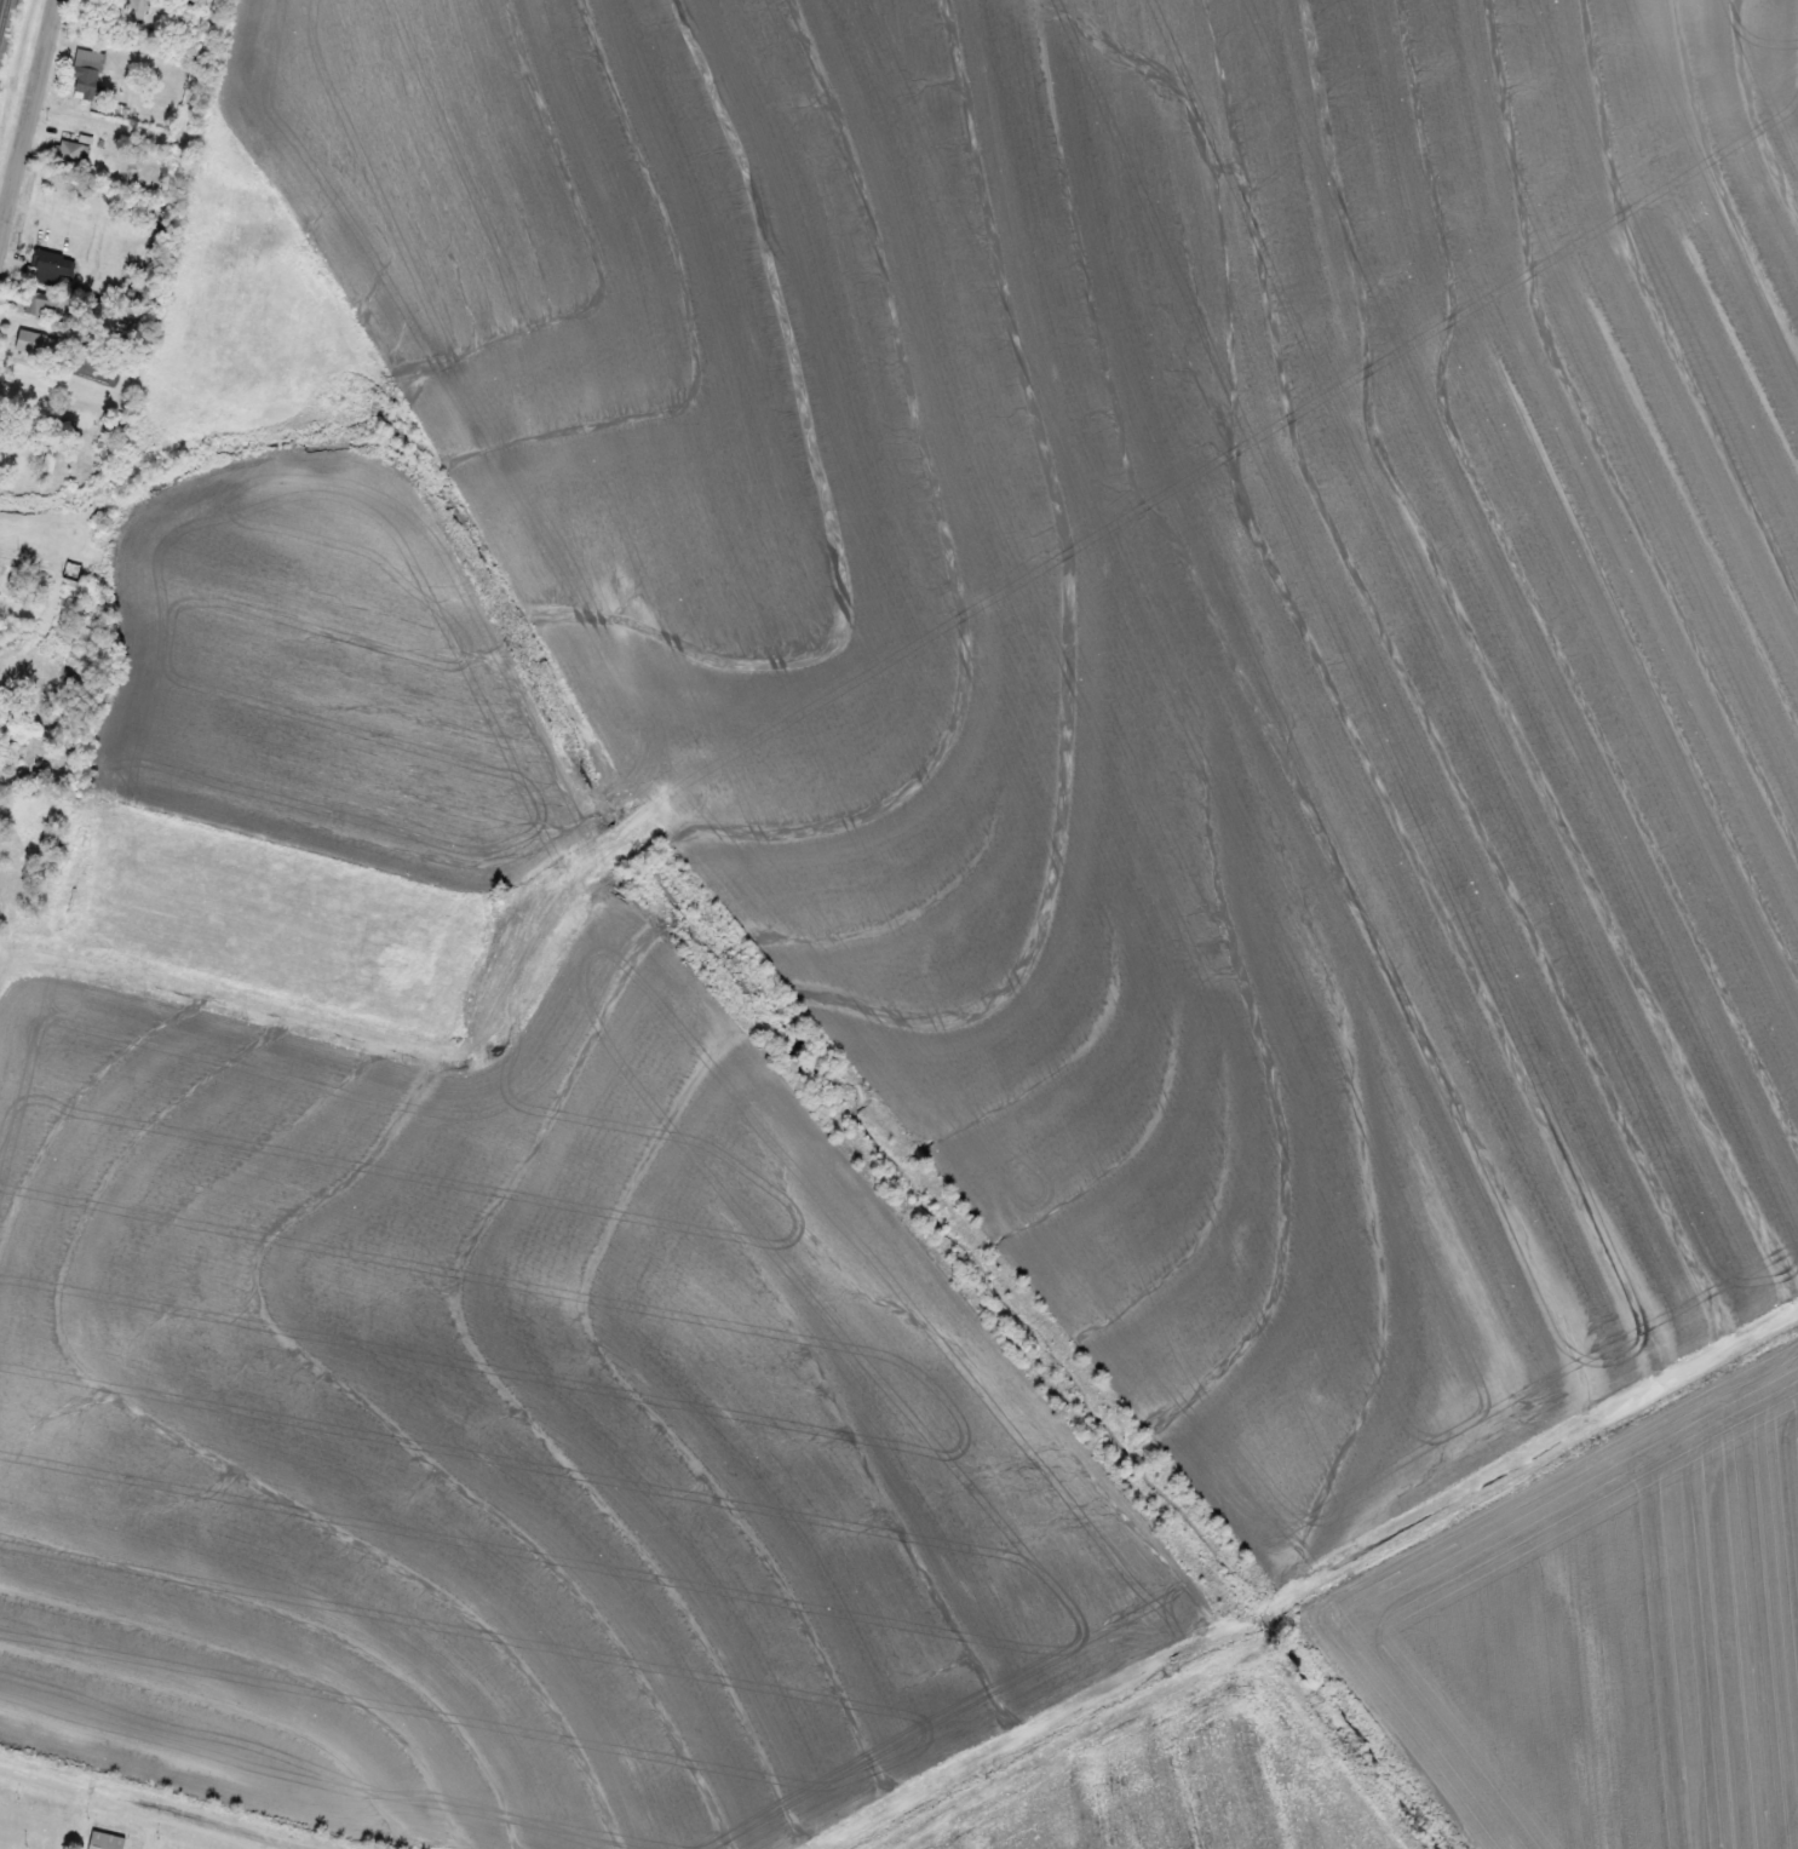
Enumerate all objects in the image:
railway: (2, 15)
building: (86, 68)
road: (29, 122)
road: (96, 131)
building: (74, 151)
building: (50, 265)
building: (38, 345)
road: (50, 379)
building: (53, 443)
building: (5, 581)
building: (2, 628)
crop: (1182, 628)
crop: (329, 662)
building: (16, 874)
crop: (513, 1430)
crop: (1605, 1640)
crop: (1184, 1779)
building: (107, 1841)

